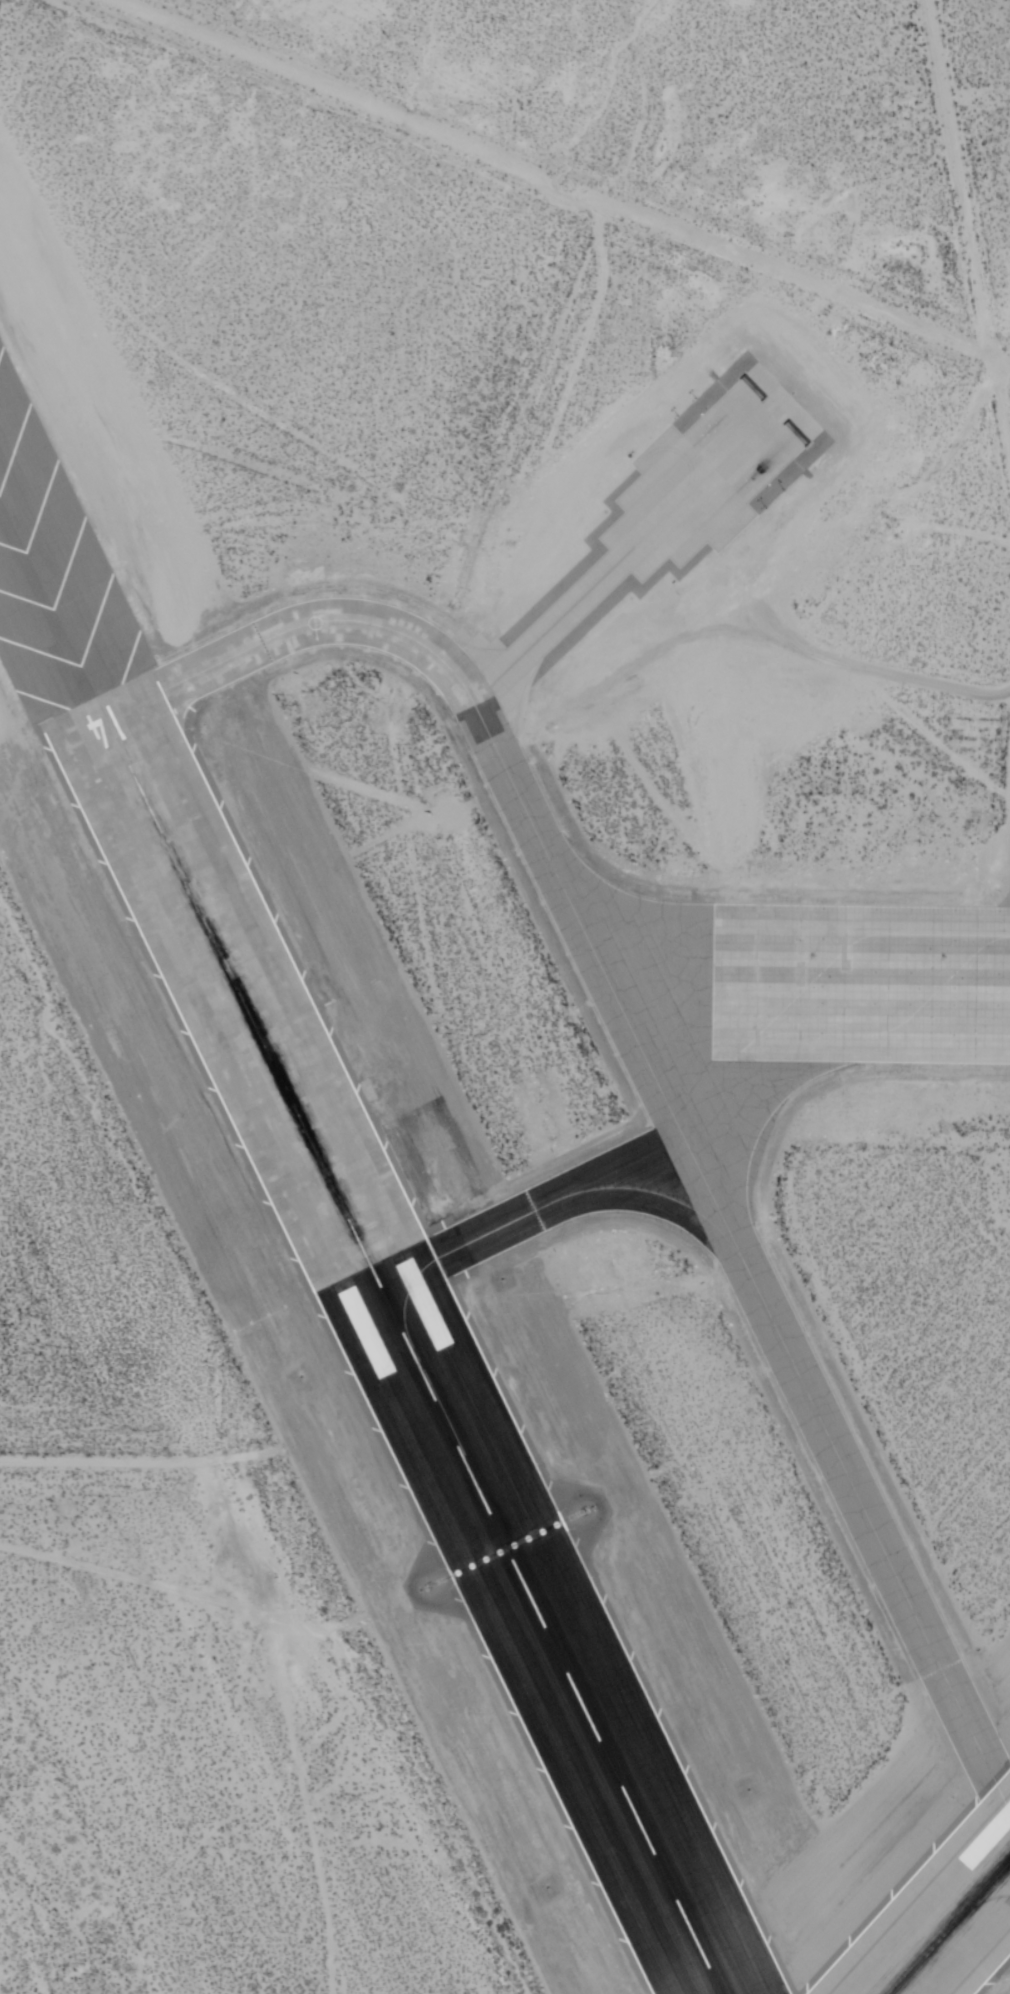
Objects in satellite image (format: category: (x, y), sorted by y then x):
building: (622, 648)
airport apron: (860, 984)
airport: (505, 997)
airport taxiway: (650, 1069)
airport taxiway: (532, 1212)
airport runway: (414, 1357)
building: (513, 1578)
airport runway: (950, 1928)

